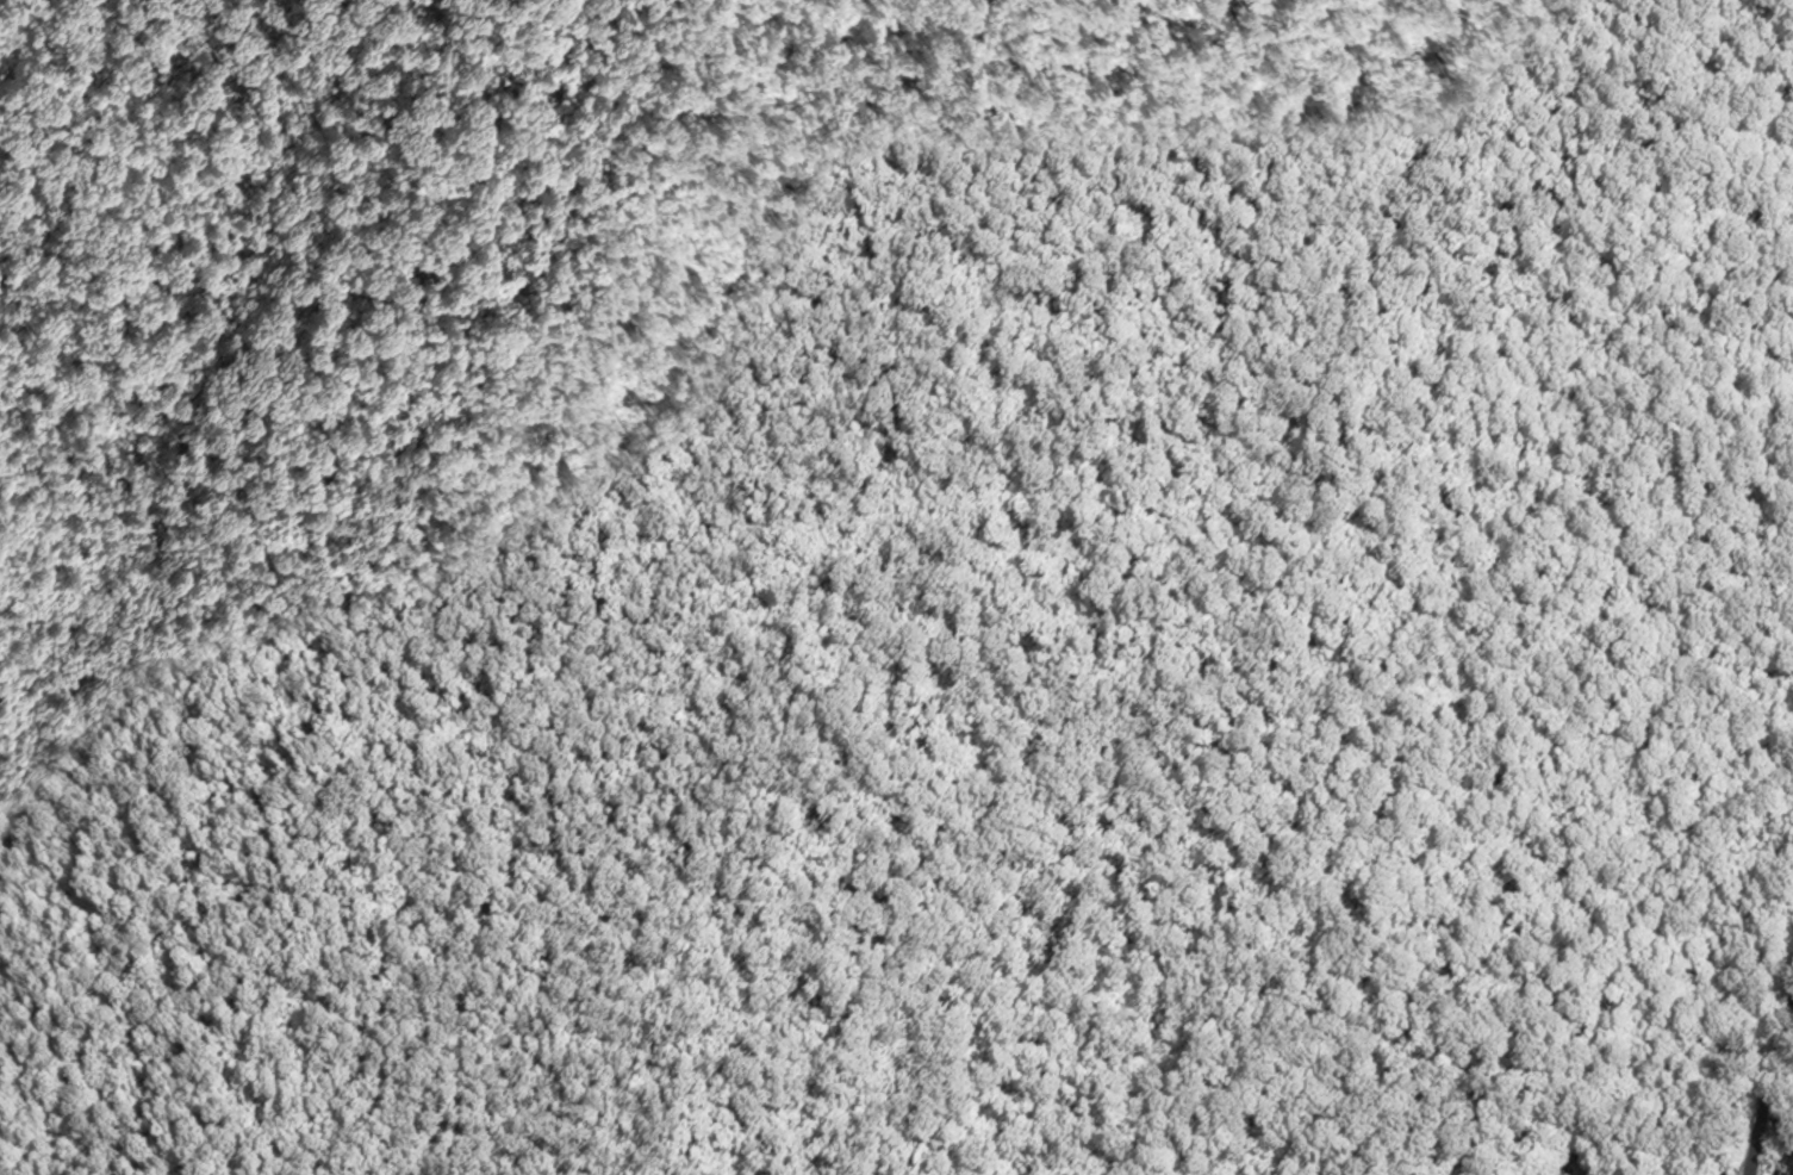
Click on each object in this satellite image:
road: (124, 213)
road: (1767, 1084)
road: (1782, 1129)
building: (1791, 1167)

